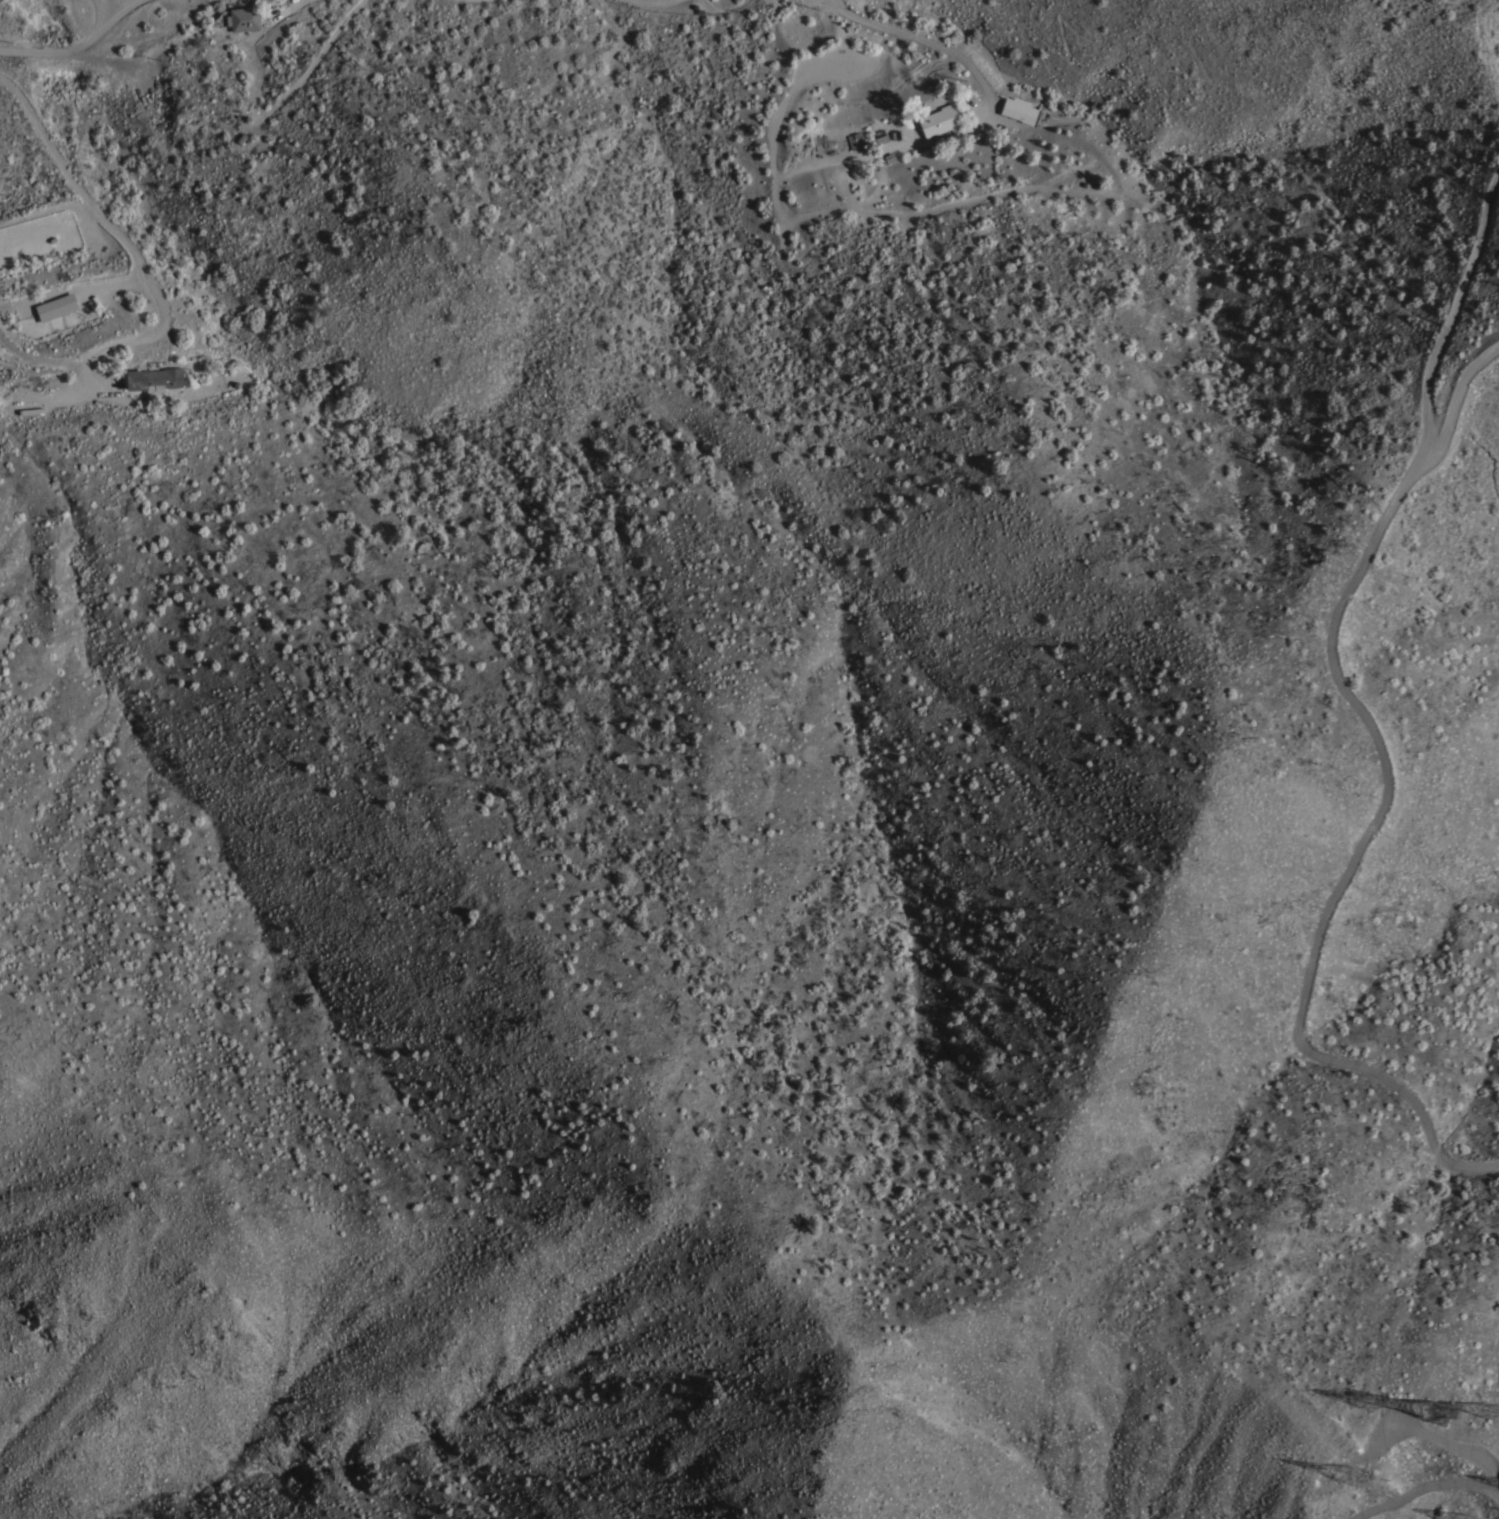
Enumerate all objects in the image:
road: (655, 3)
road: (294, 4)
road: (103, 12)
building: (242, 17)
road: (78, 48)
road: (310, 66)
building: (1018, 108)
road: (993, 113)
building: (938, 119)
road: (143, 271)
road: (72, 288)
building: (56, 306)
building: (154, 379)
road: (1359, 696)
road: (1416, 1476)
power tower: (1359, 1480)

